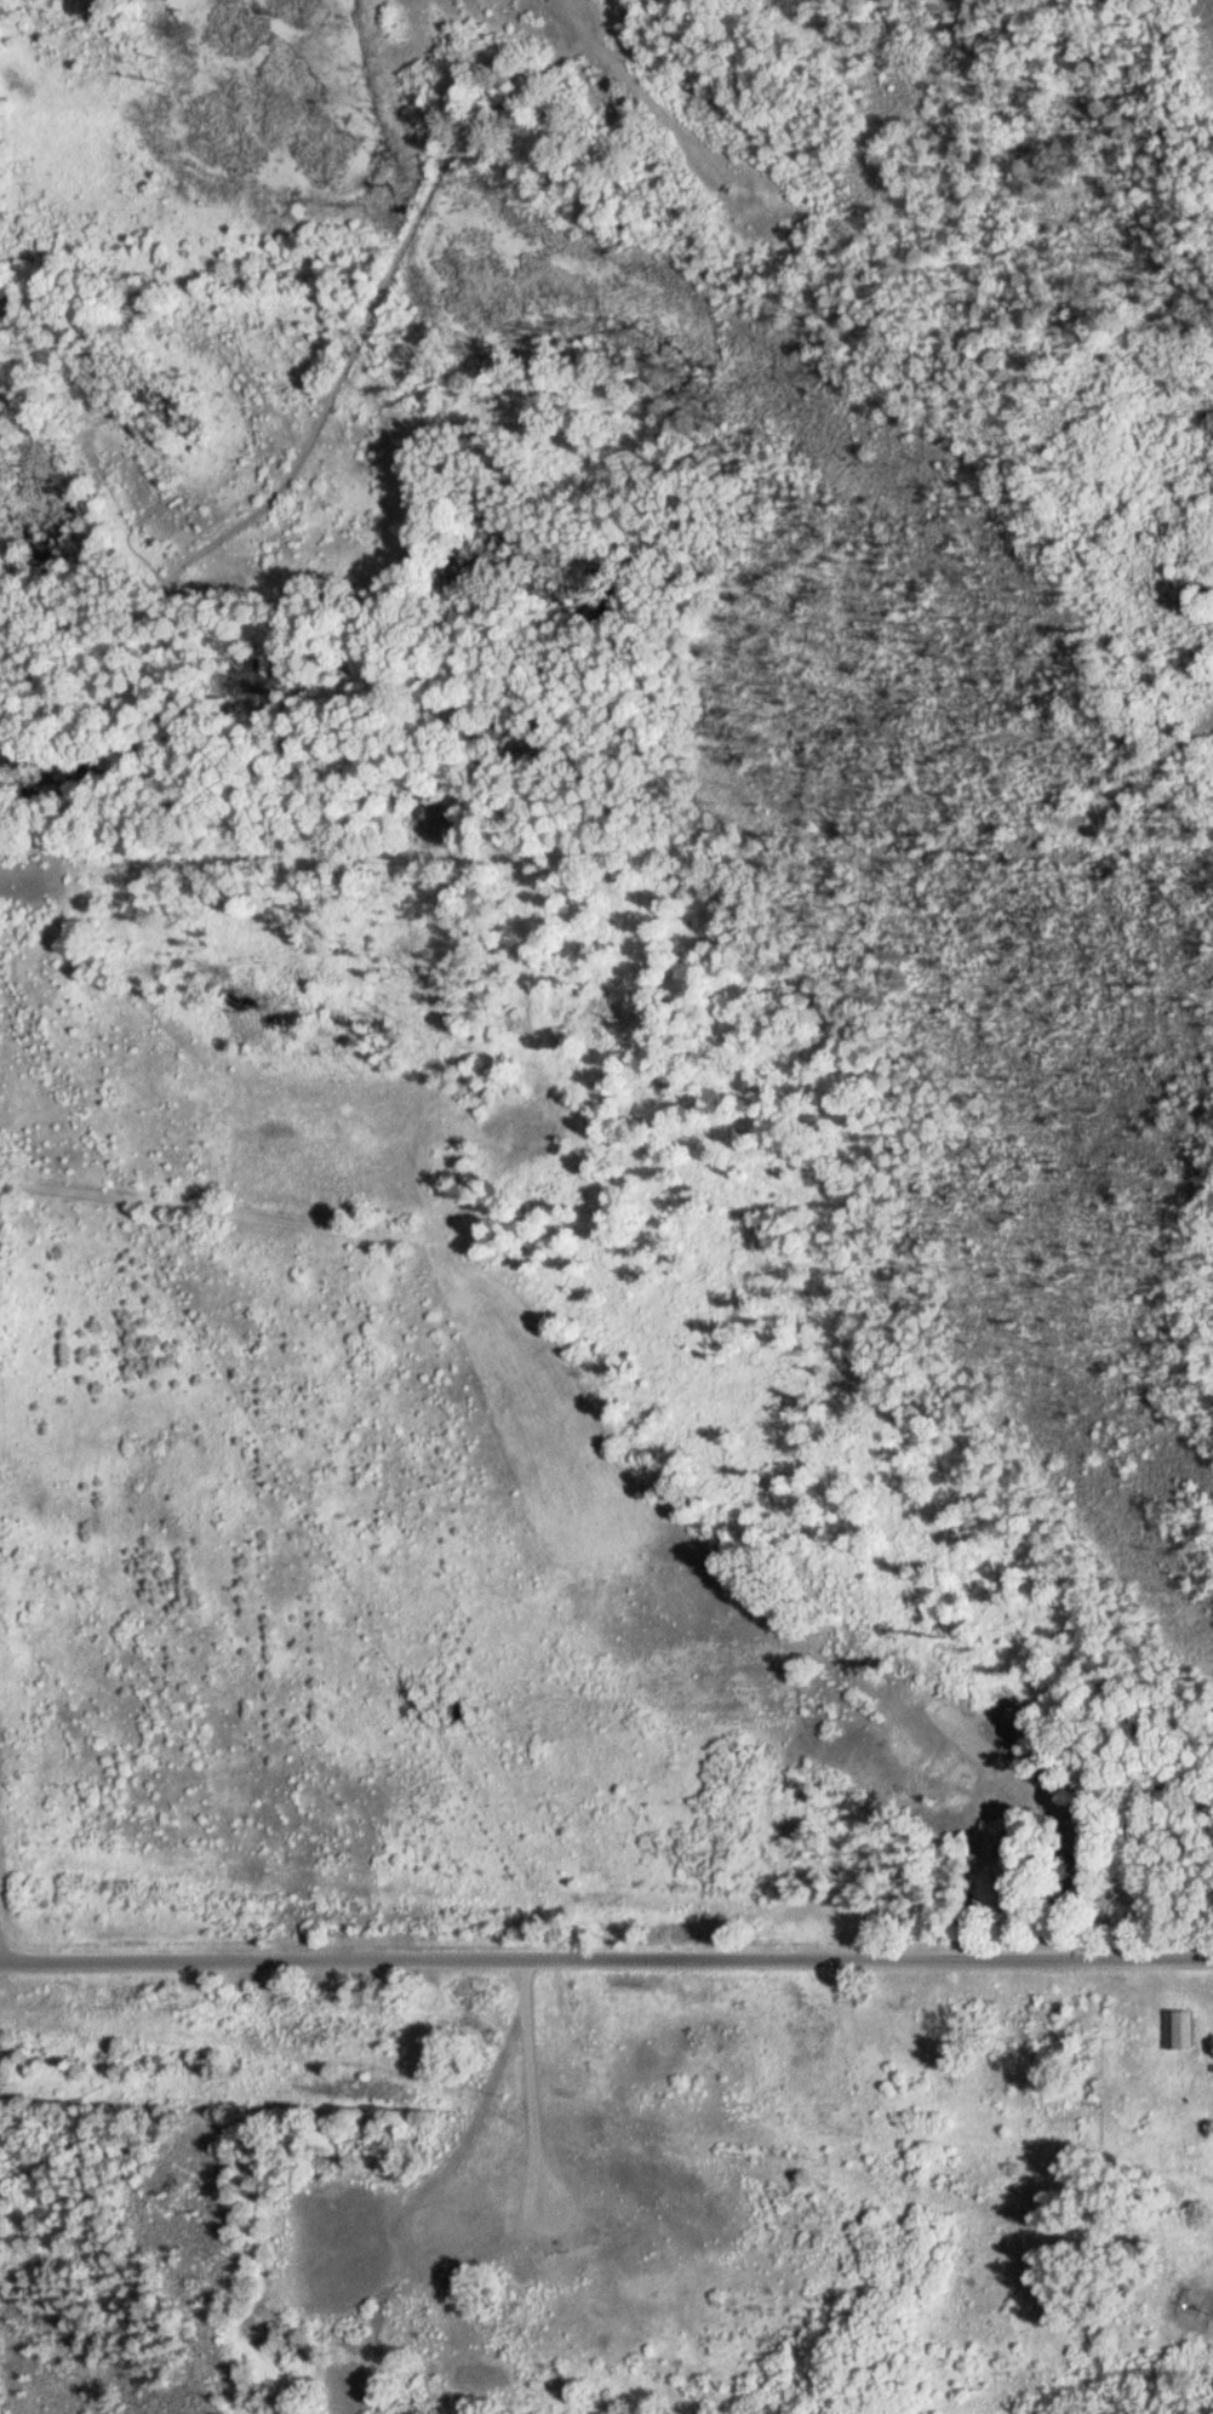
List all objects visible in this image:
road: (342, 391)
road: (1139, 777)
road: (248, 1208)
road: (606, 1960)
building: (1175, 2030)
building: (1211, 2070)

